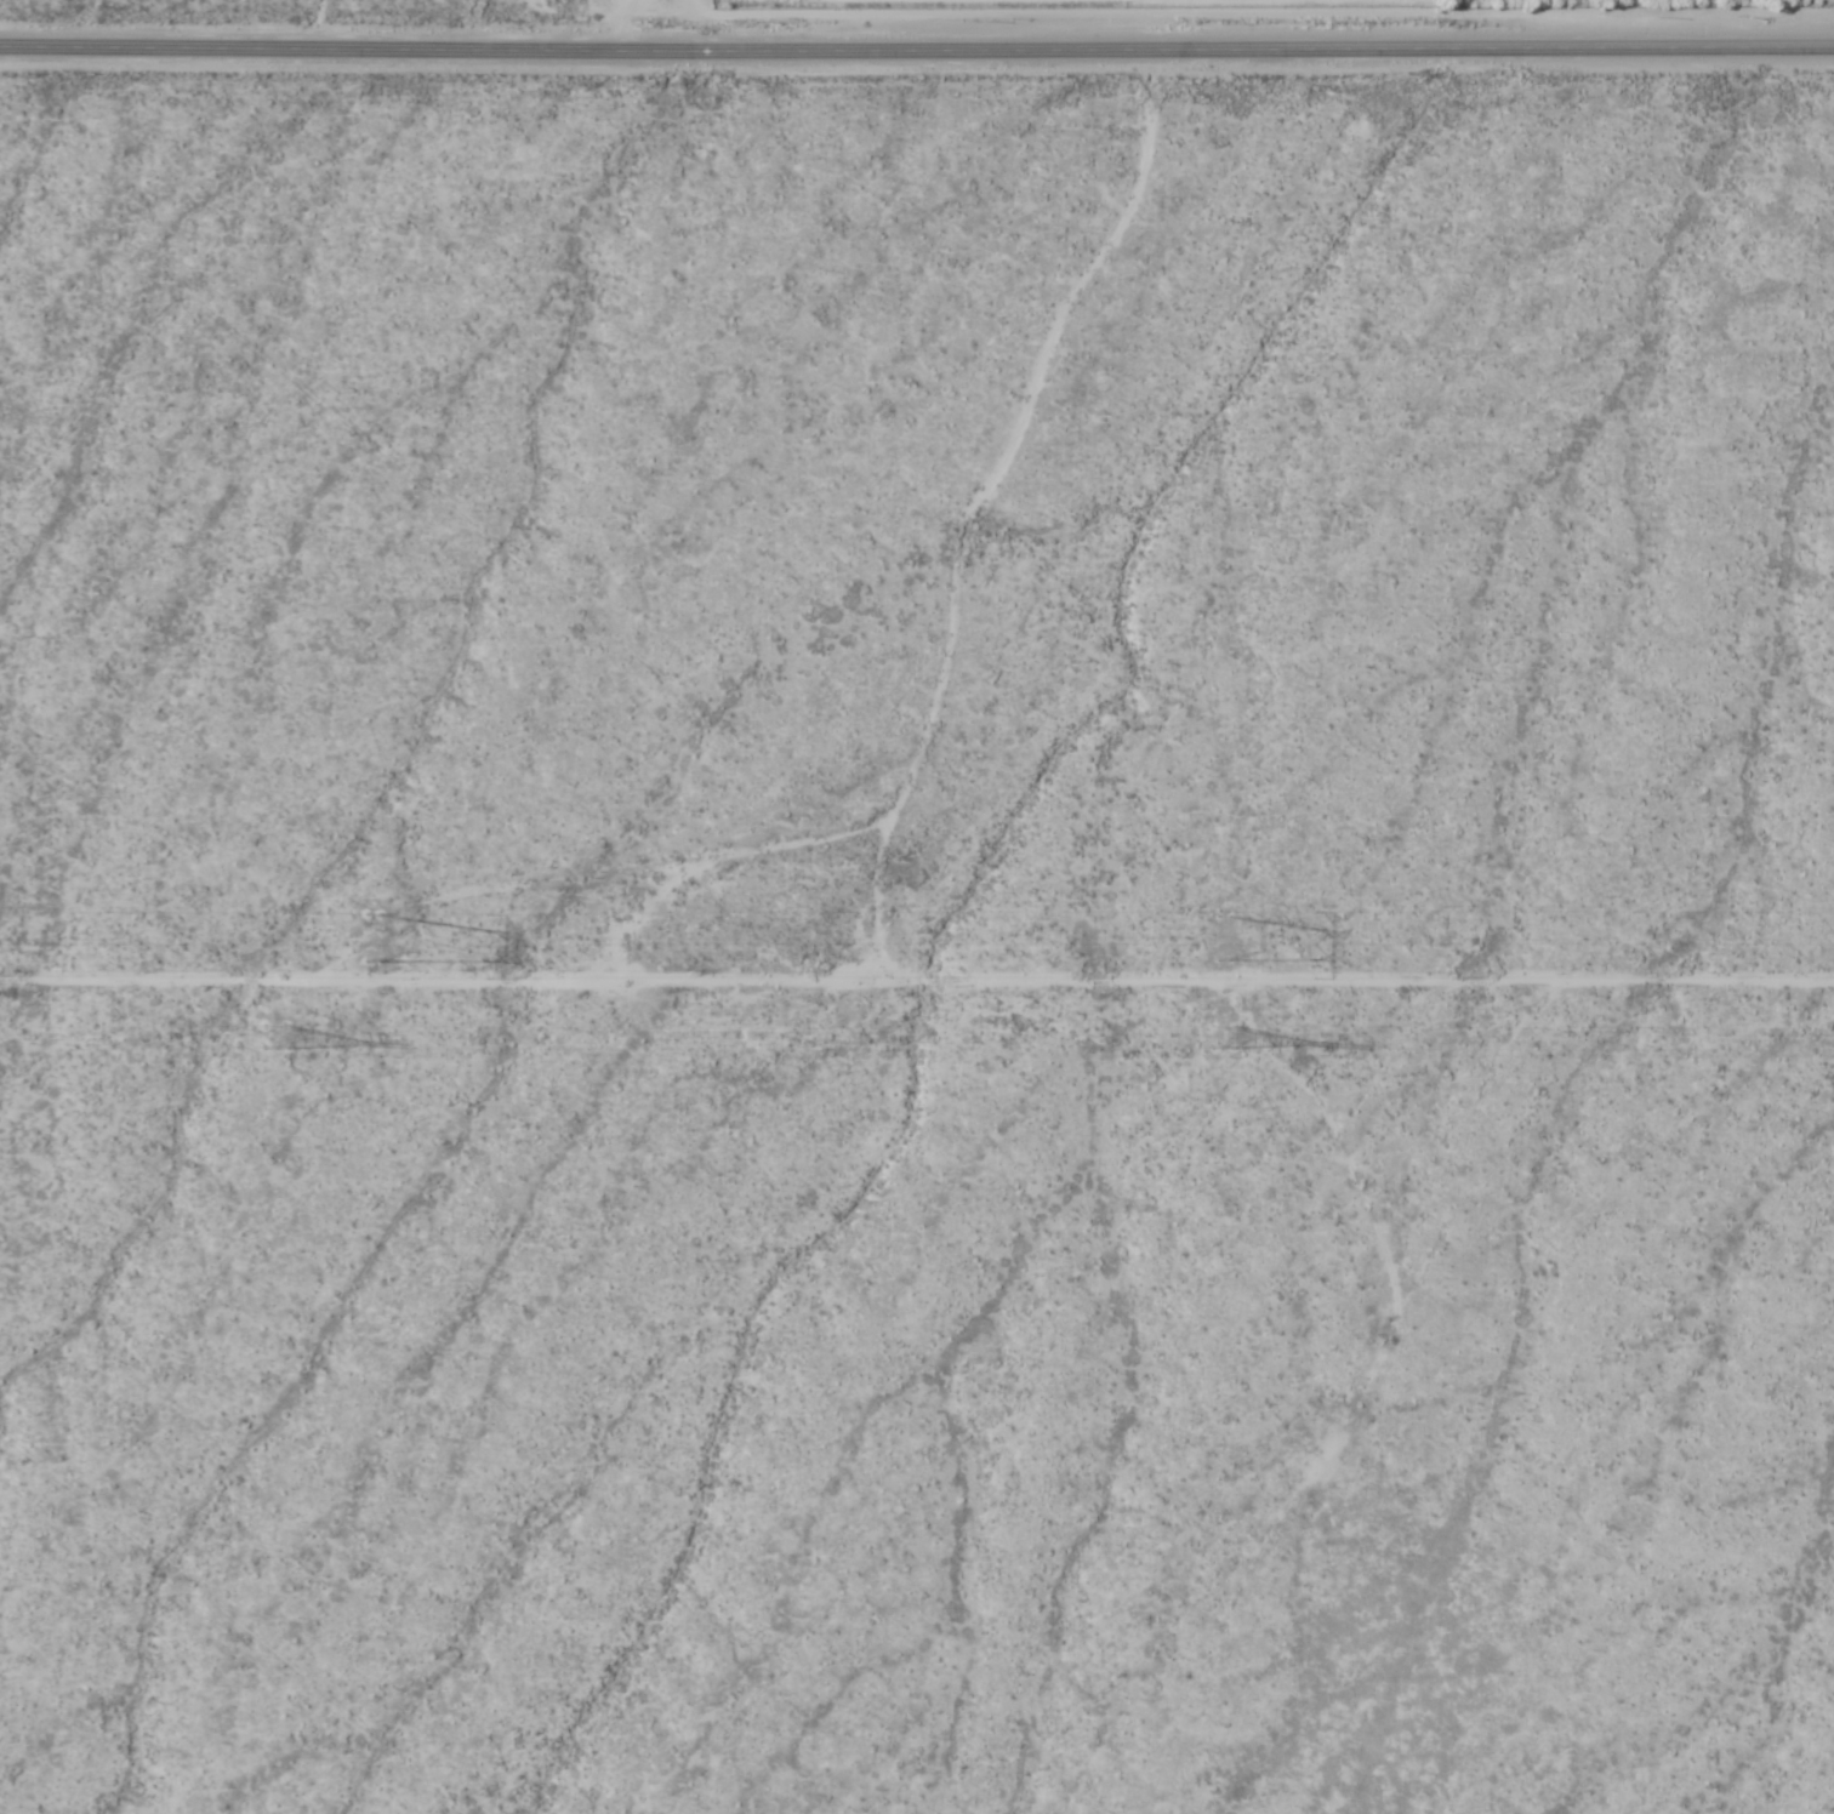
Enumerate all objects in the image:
landfill: (1225, 33)
road: (917, 41)
power tower: (377, 930)
power tower: (1232, 939)
power tower: (277, 1037)
power tower: (1213, 1037)

